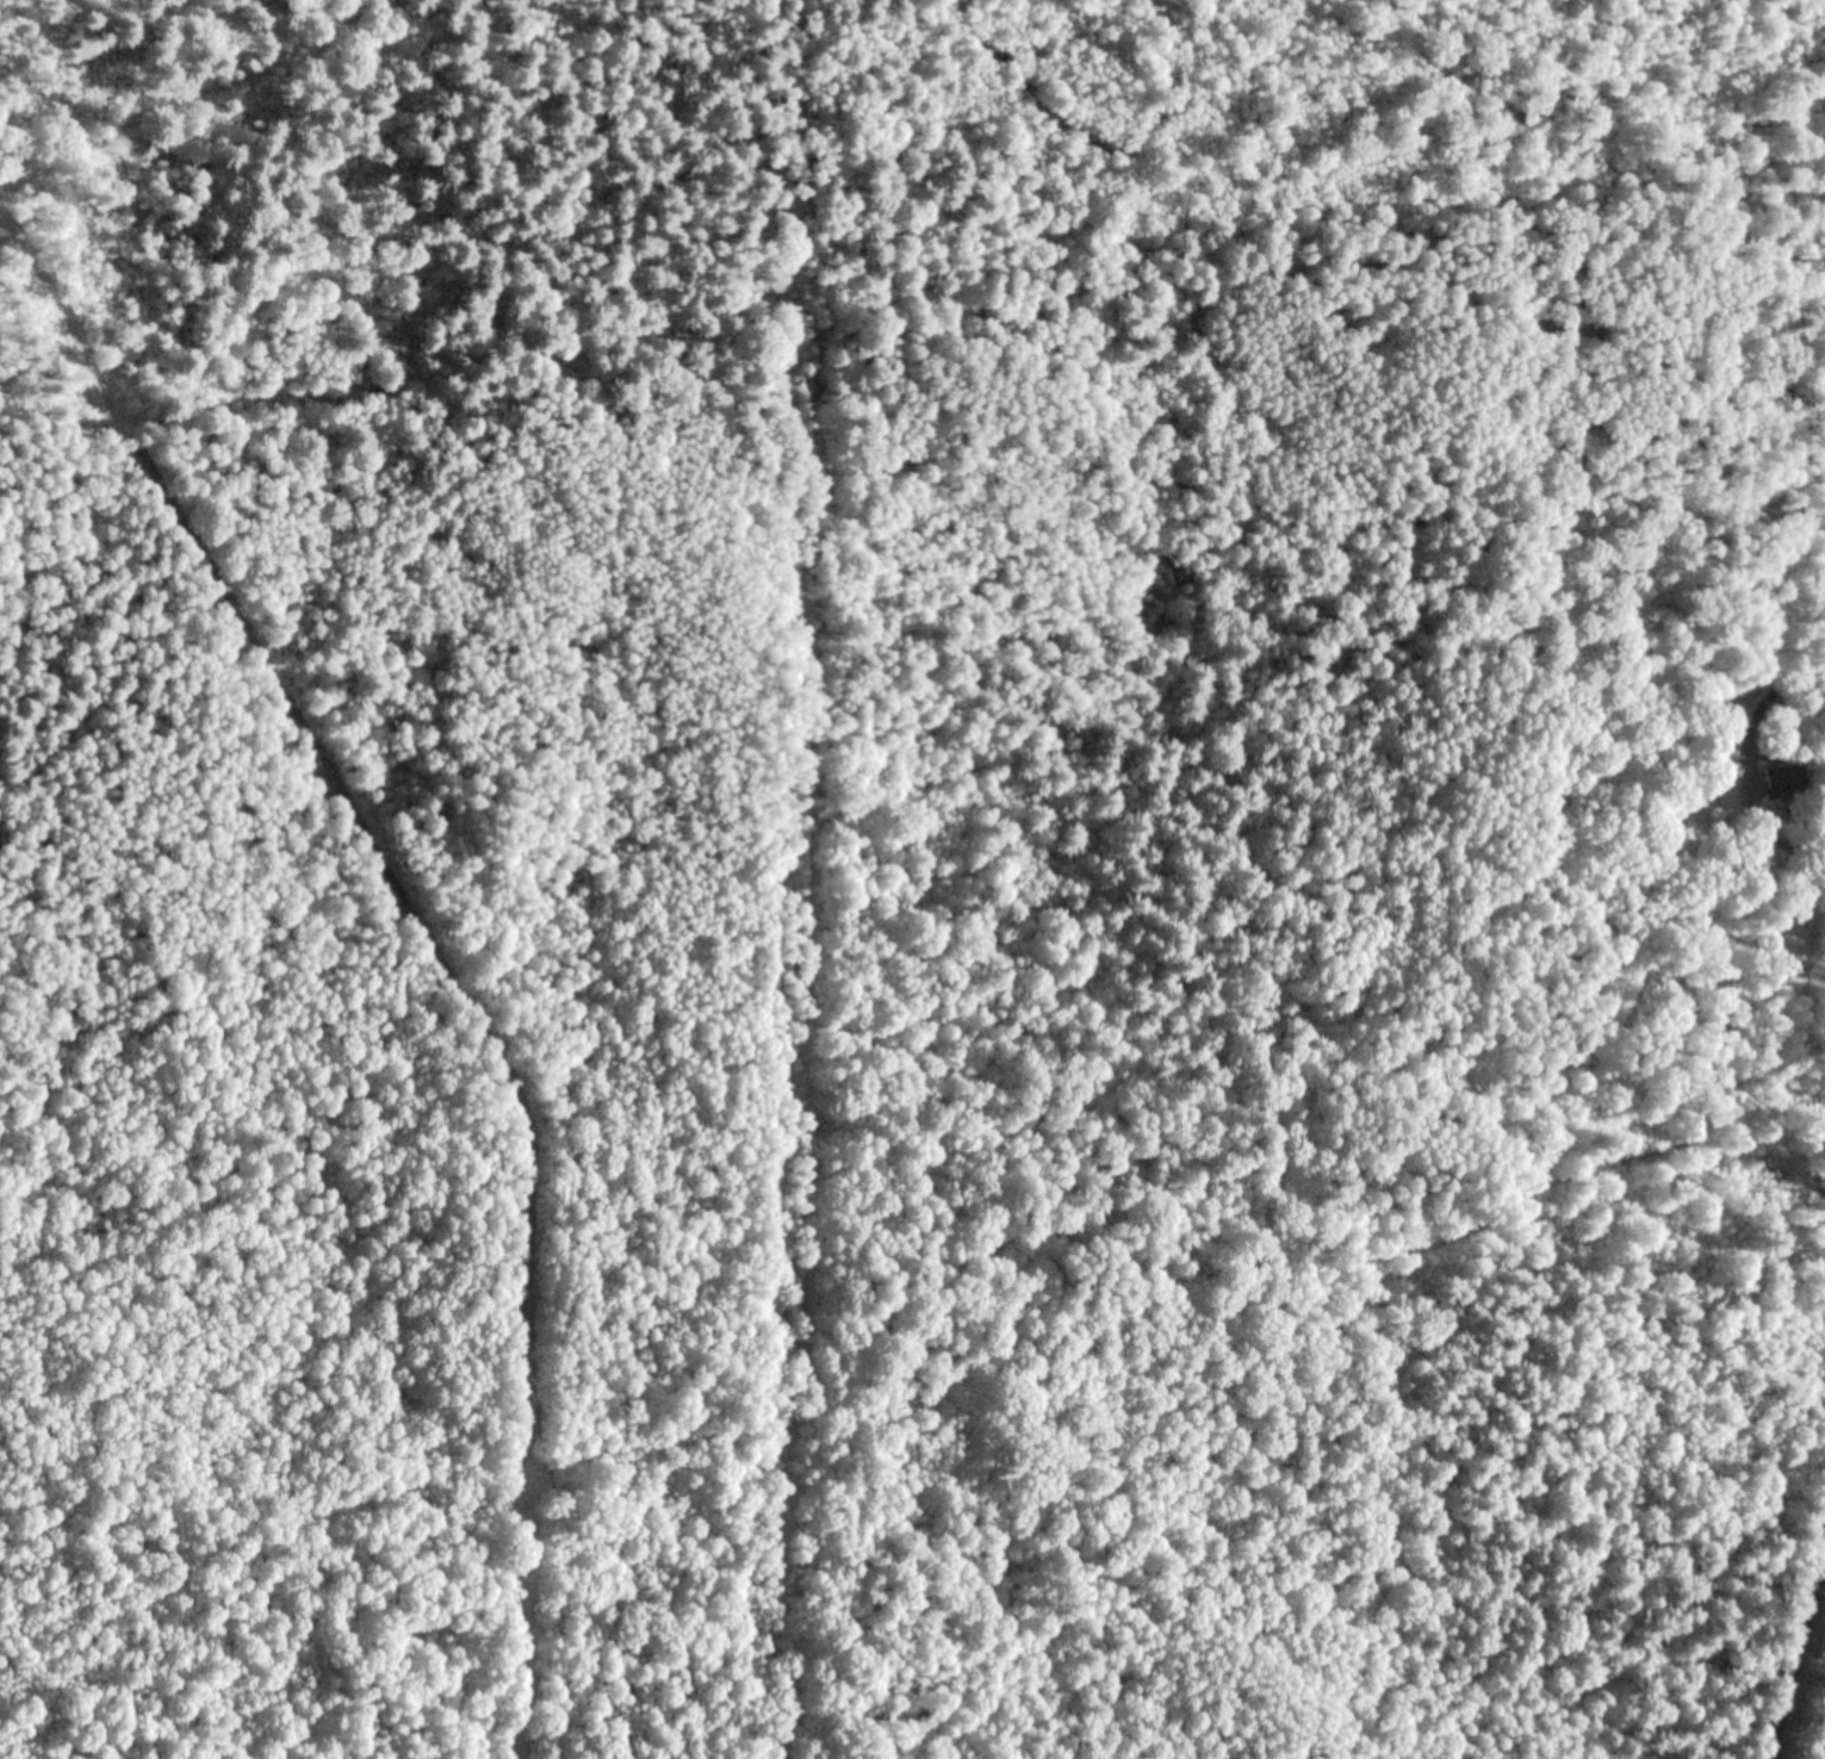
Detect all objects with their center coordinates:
building: (1731, 729)
building: (1786, 785)
road: (1796, 1653)

